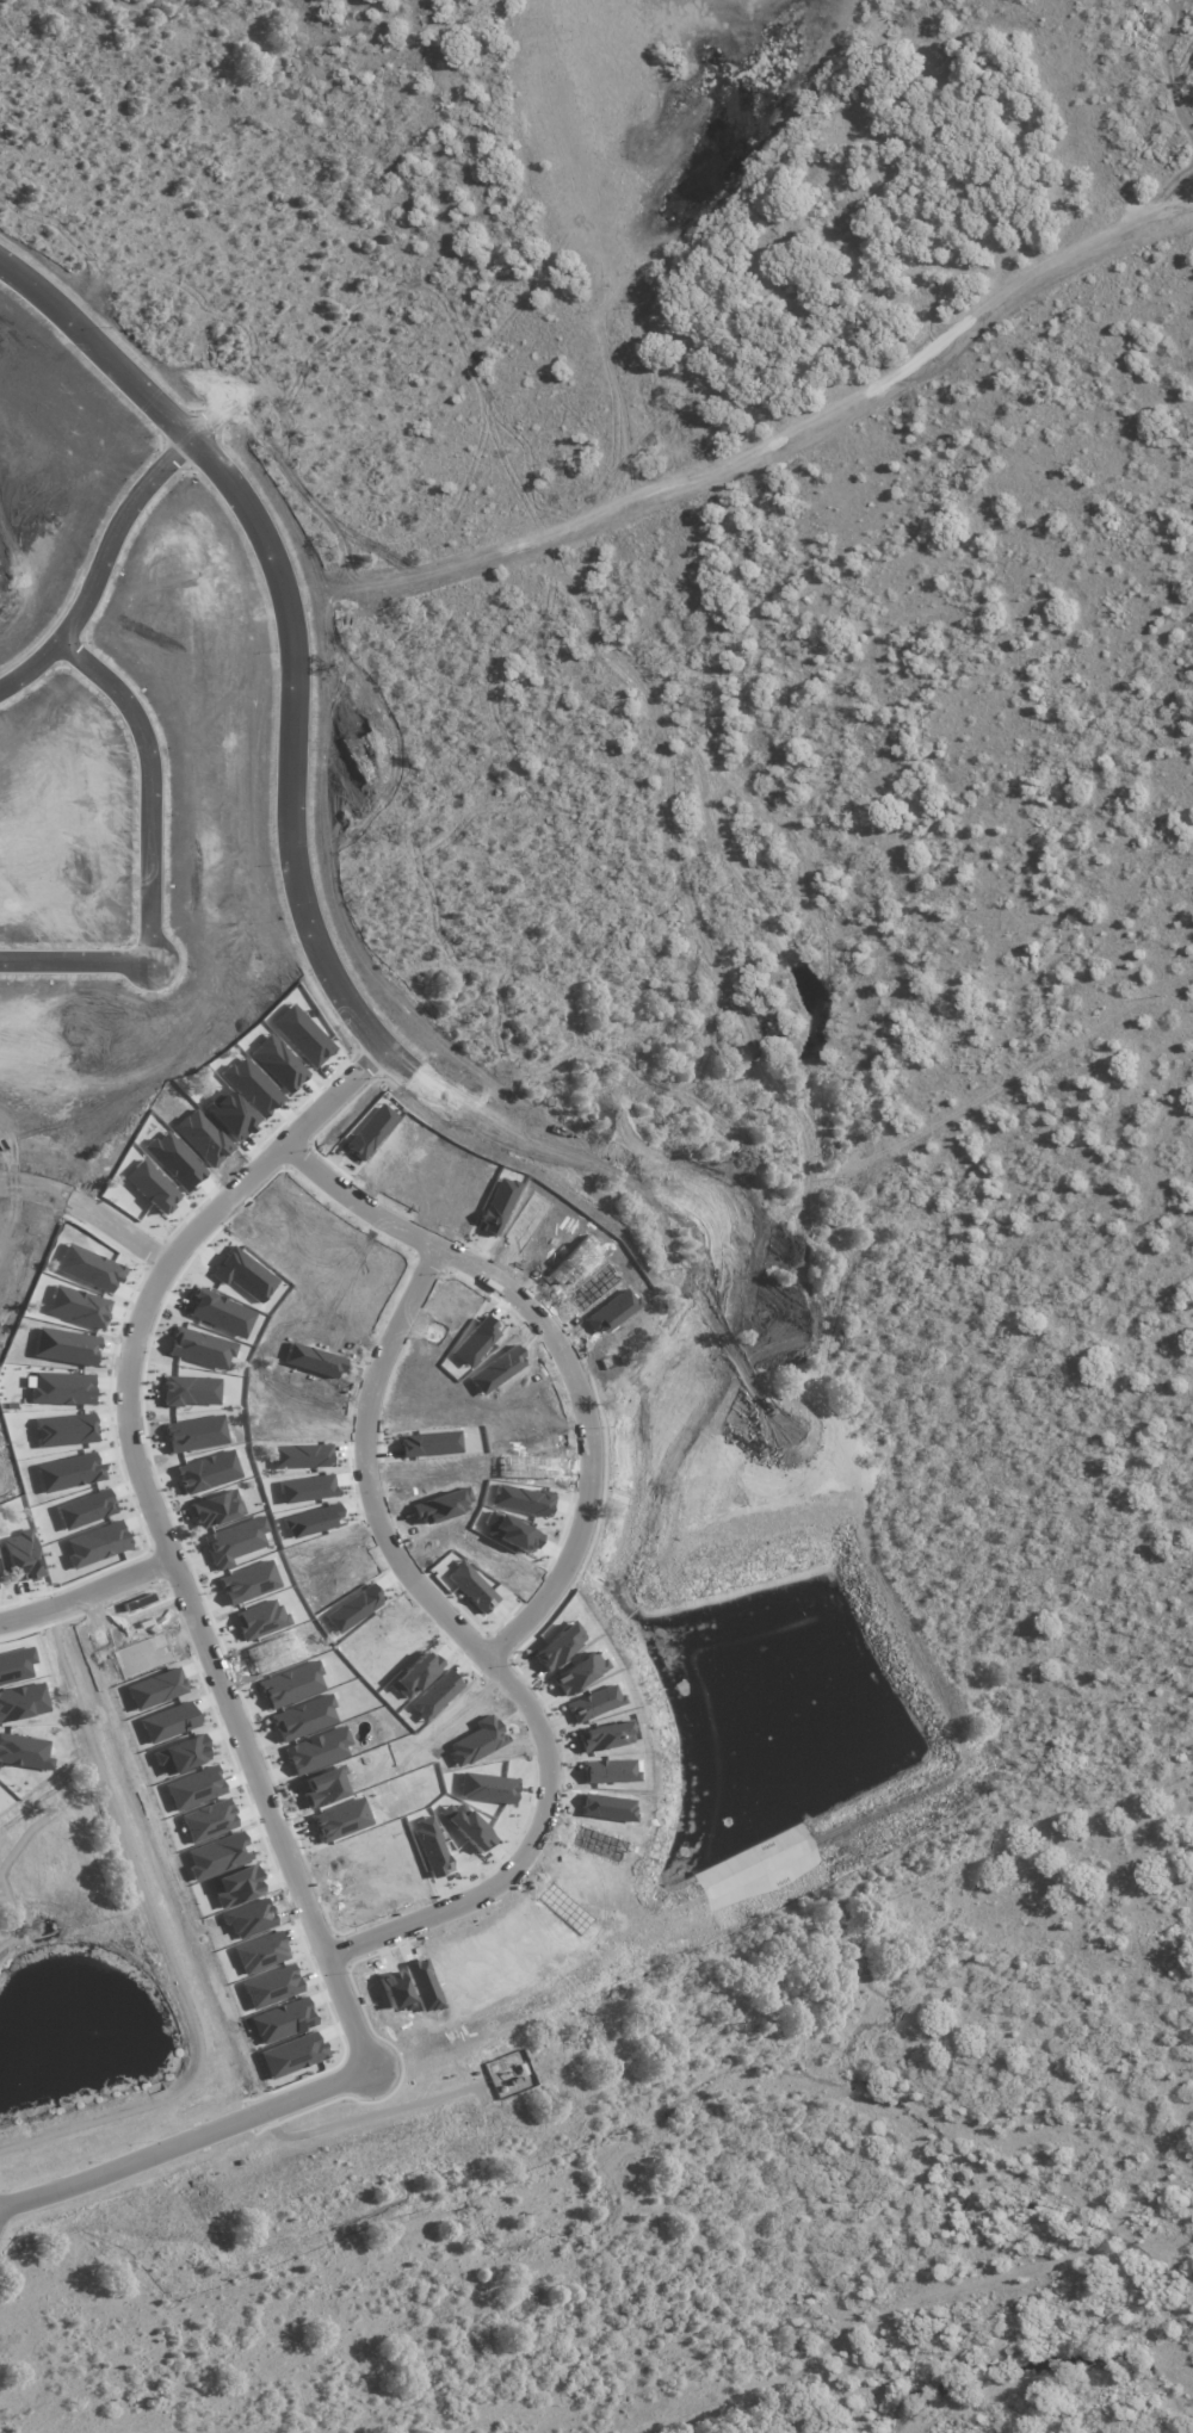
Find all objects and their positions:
road: (295, 334)
building: (110, 428)
building: (84, 460)
road: (579, 463)
building: (63, 493)
building: (50, 528)
road: (106, 558)
building: (193, 657)
road: (278, 676)
road: (625, 683)
building: (208, 711)
building: (218, 754)
road: (497, 766)
building: (216, 790)
building: (91, 801)
building: (222, 828)
building: (93, 840)
road: (155, 848)
building: (92, 875)
building: (92, 909)
road: (273, 920)
road: (228, 925)
road: (616, 990)
road: (375, 1020)
road: (94, 1196)
road: (174, 1258)
road: (1155, 1432)
road: (370, 1462)
road: (1040, 1485)
road: (569, 1560)
road: (84, 1581)
road: (1093, 1727)
road: (266, 1804)
road: (1185, 1878)
road: (1106, 1983)
road: (187, 2132)
road: (4, 2209)
road: (328, 2346)
road: (23, 2358)
road: (14, 2379)
road: (420, 2419)

